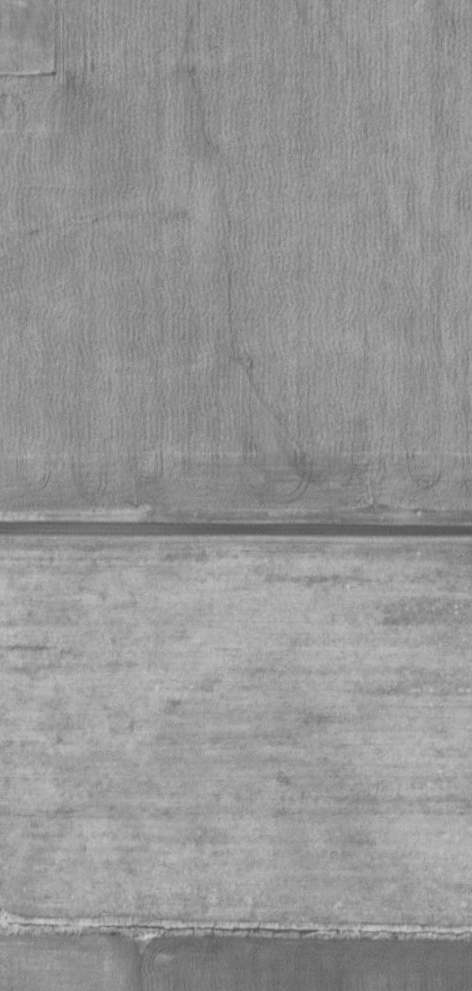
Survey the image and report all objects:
road: (236, 532)

